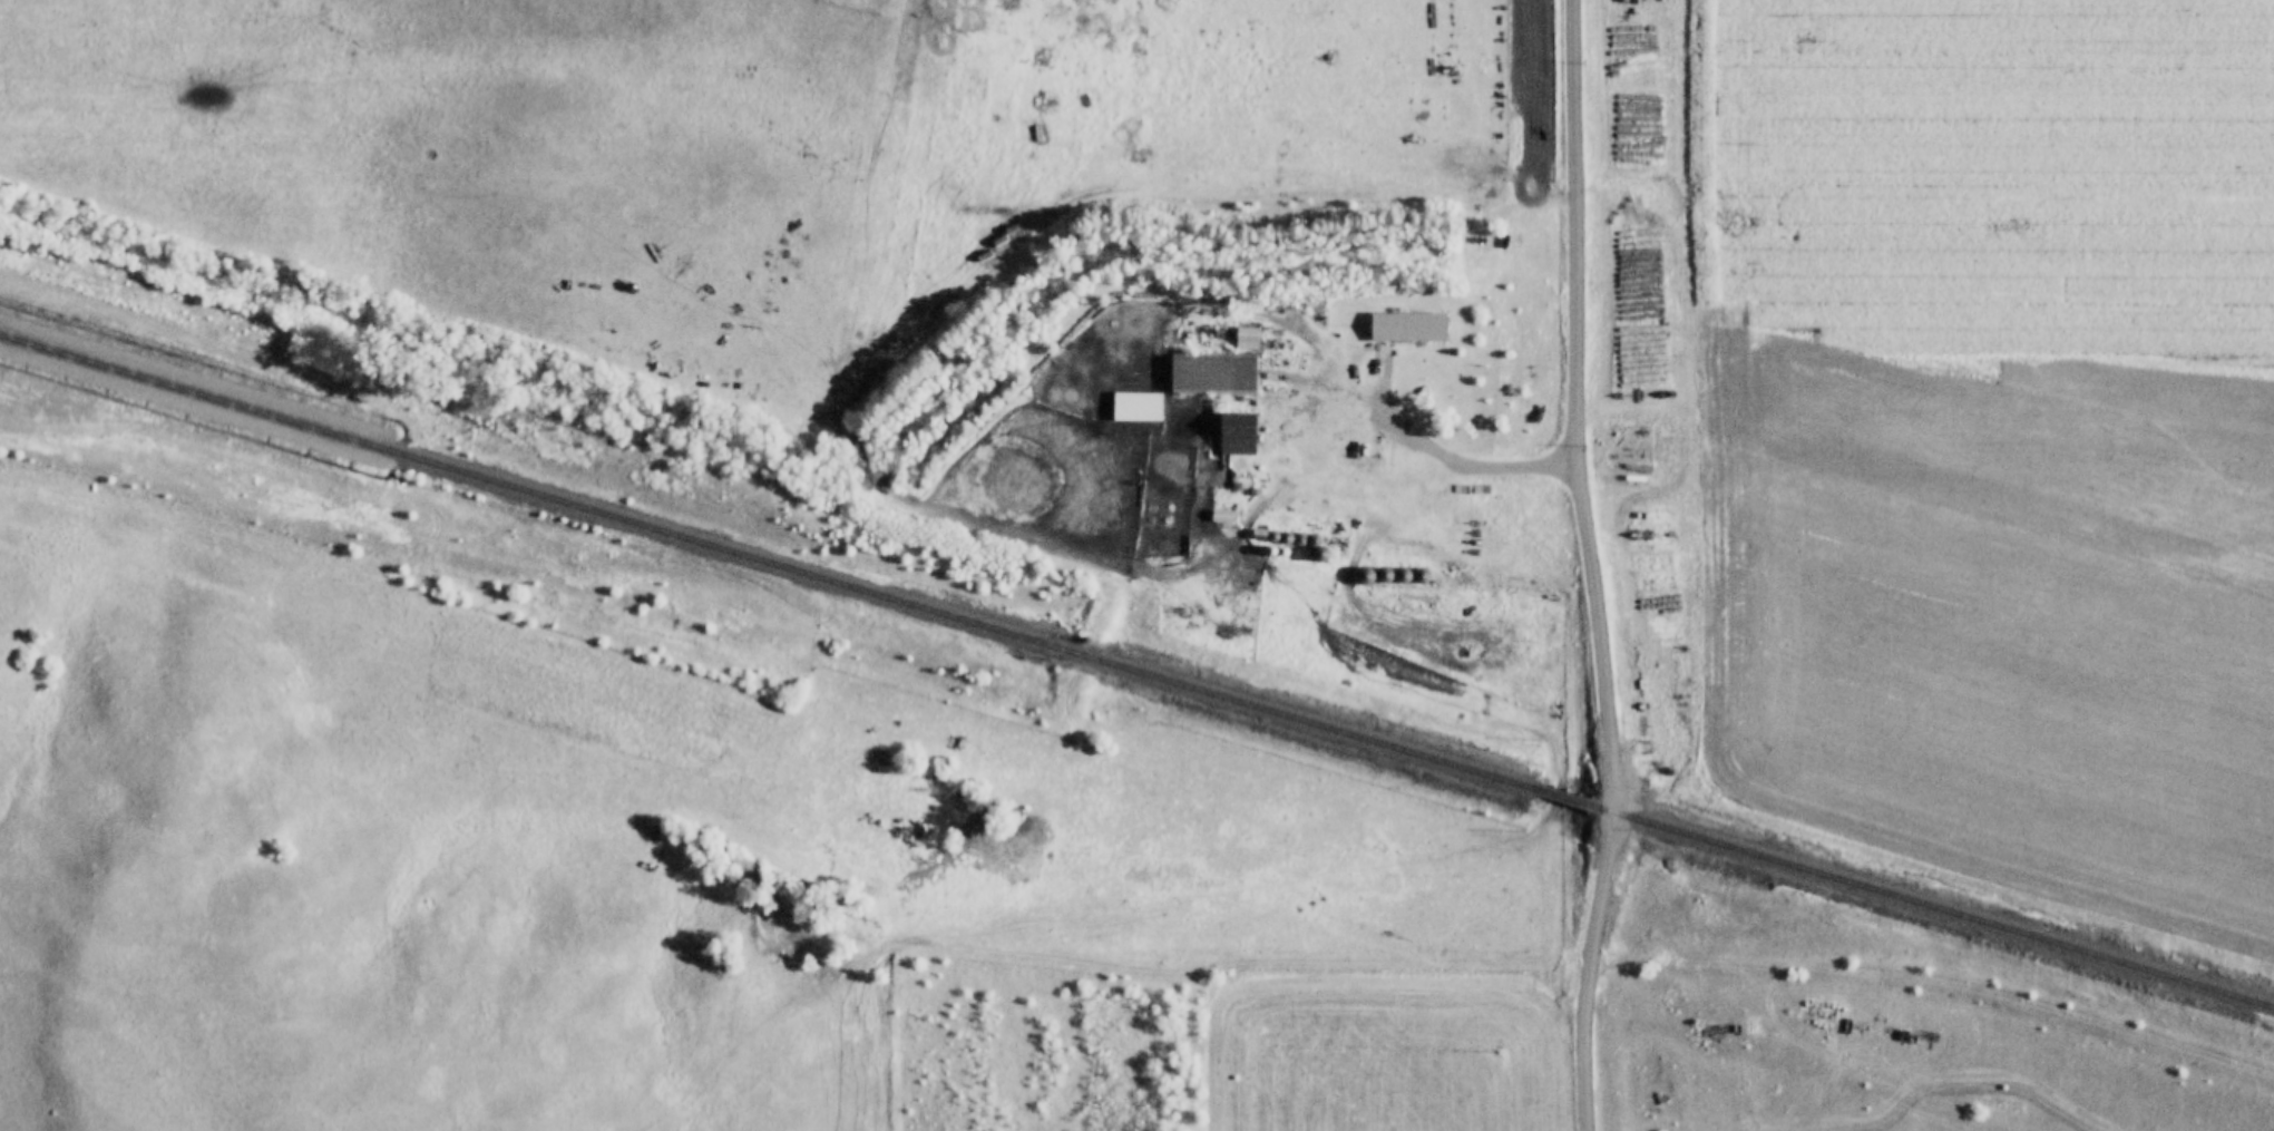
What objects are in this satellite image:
building: (1025, 226)
building: (1408, 329)
building: (1213, 376)
building: (1138, 408)
building: (1239, 436)
road: (1436, 454)
railway: (767, 562)
road: (1587, 566)
railway: (1563, 799)
railway: (1933, 908)
road: (1938, 973)

